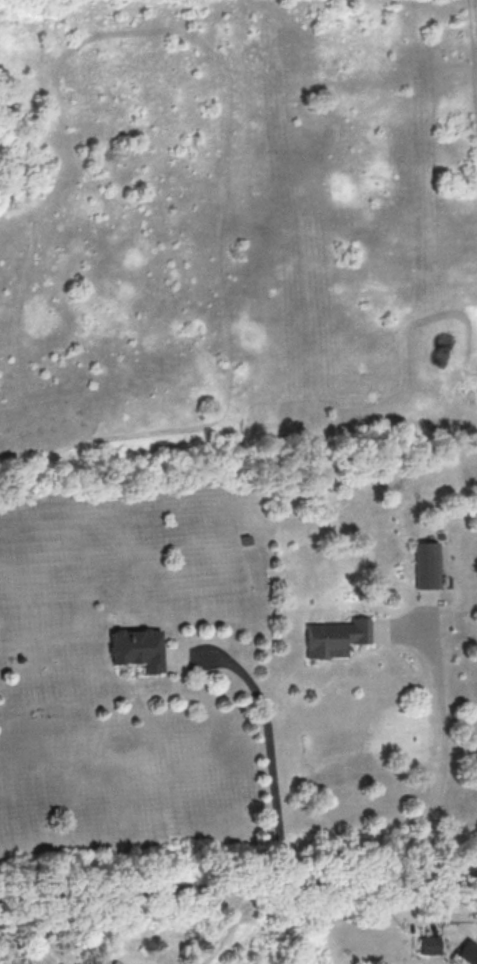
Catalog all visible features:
building: (426, 565)
building: (335, 637)
building: (138, 648)
road: (271, 740)
road: (444, 759)
road: (238, 890)
road: (437, 913)
road: (227, 930)
building: (429, 944)
building: (467, 951)
building: (103, 961)
building: (115, 962)
road: (138, 963)

